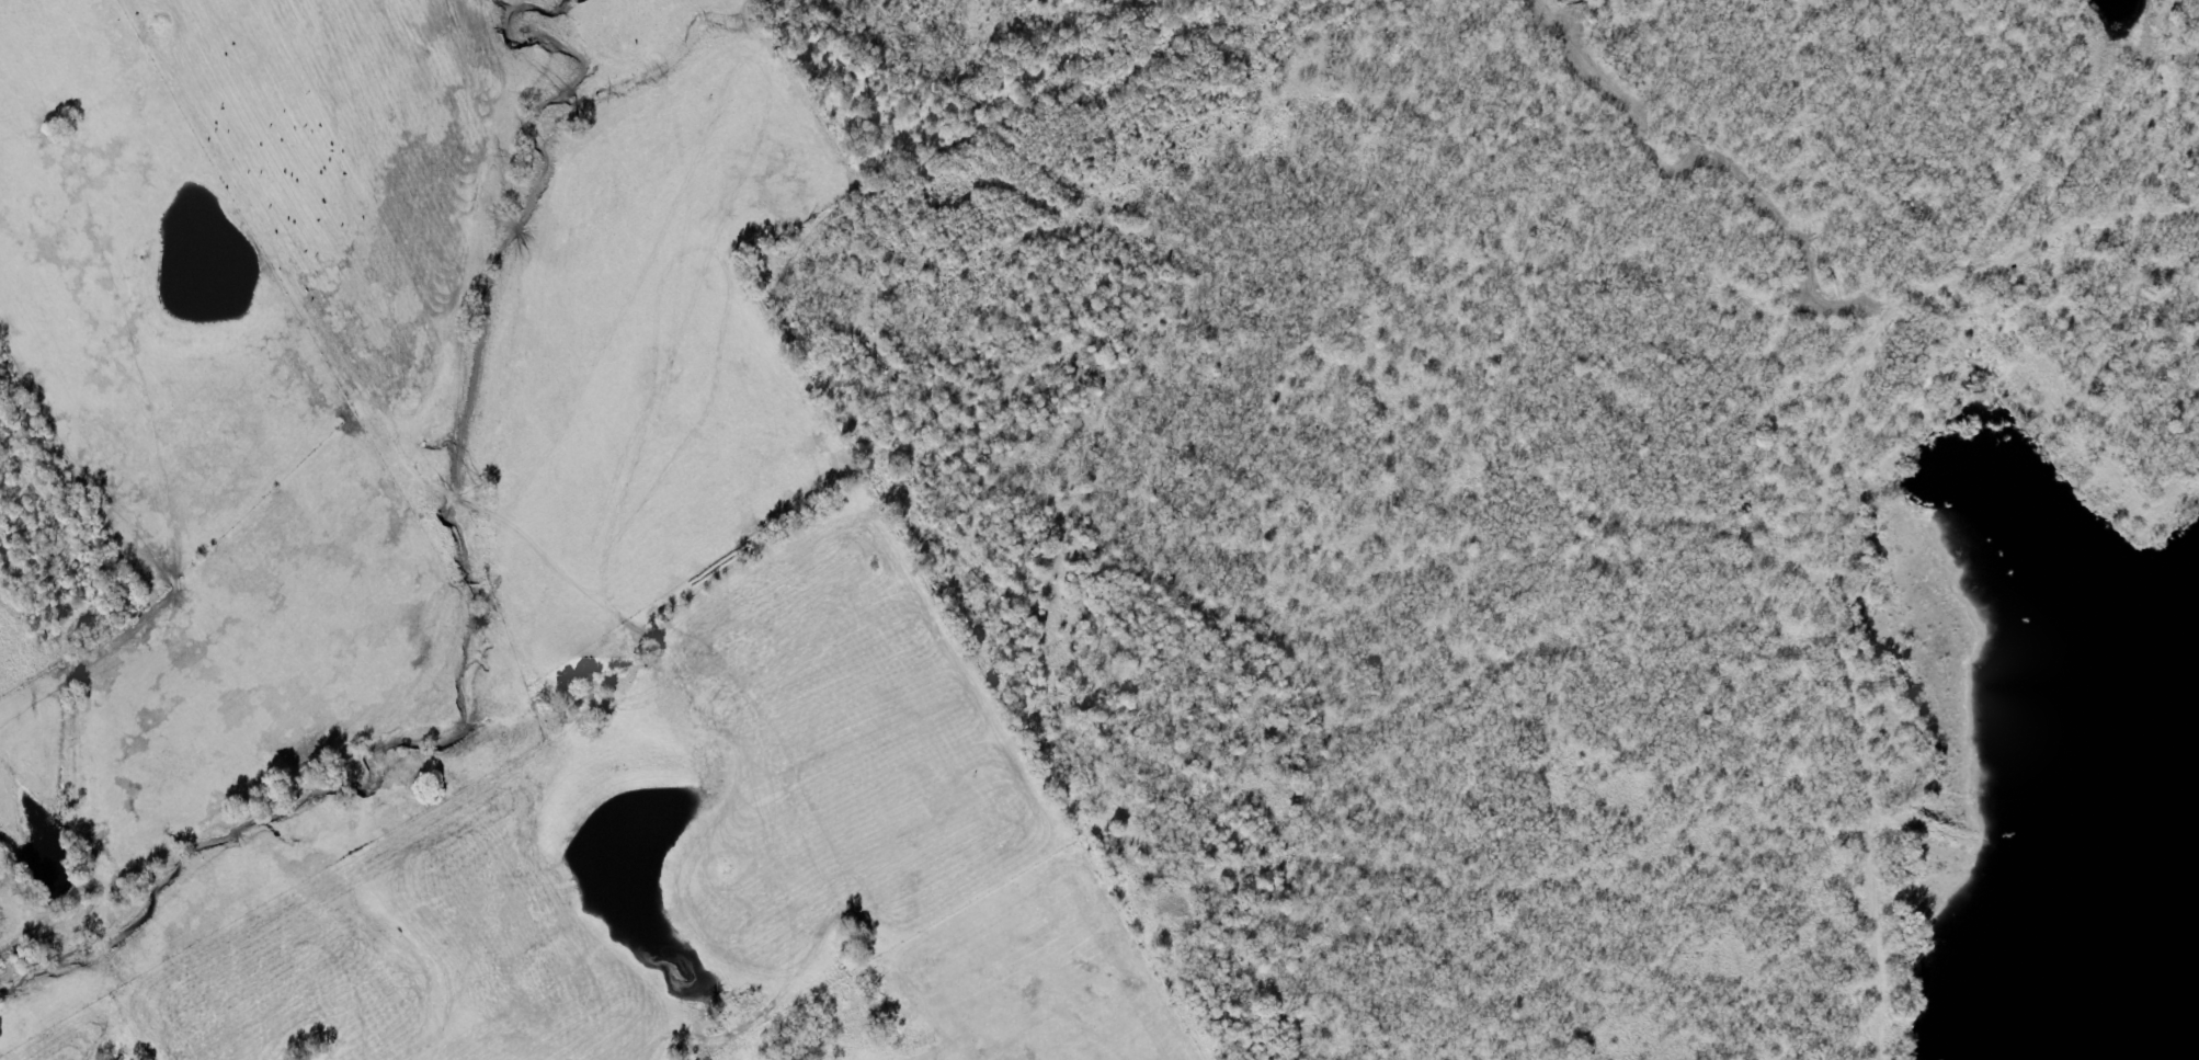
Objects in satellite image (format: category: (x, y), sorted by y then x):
road: (19, 428)

